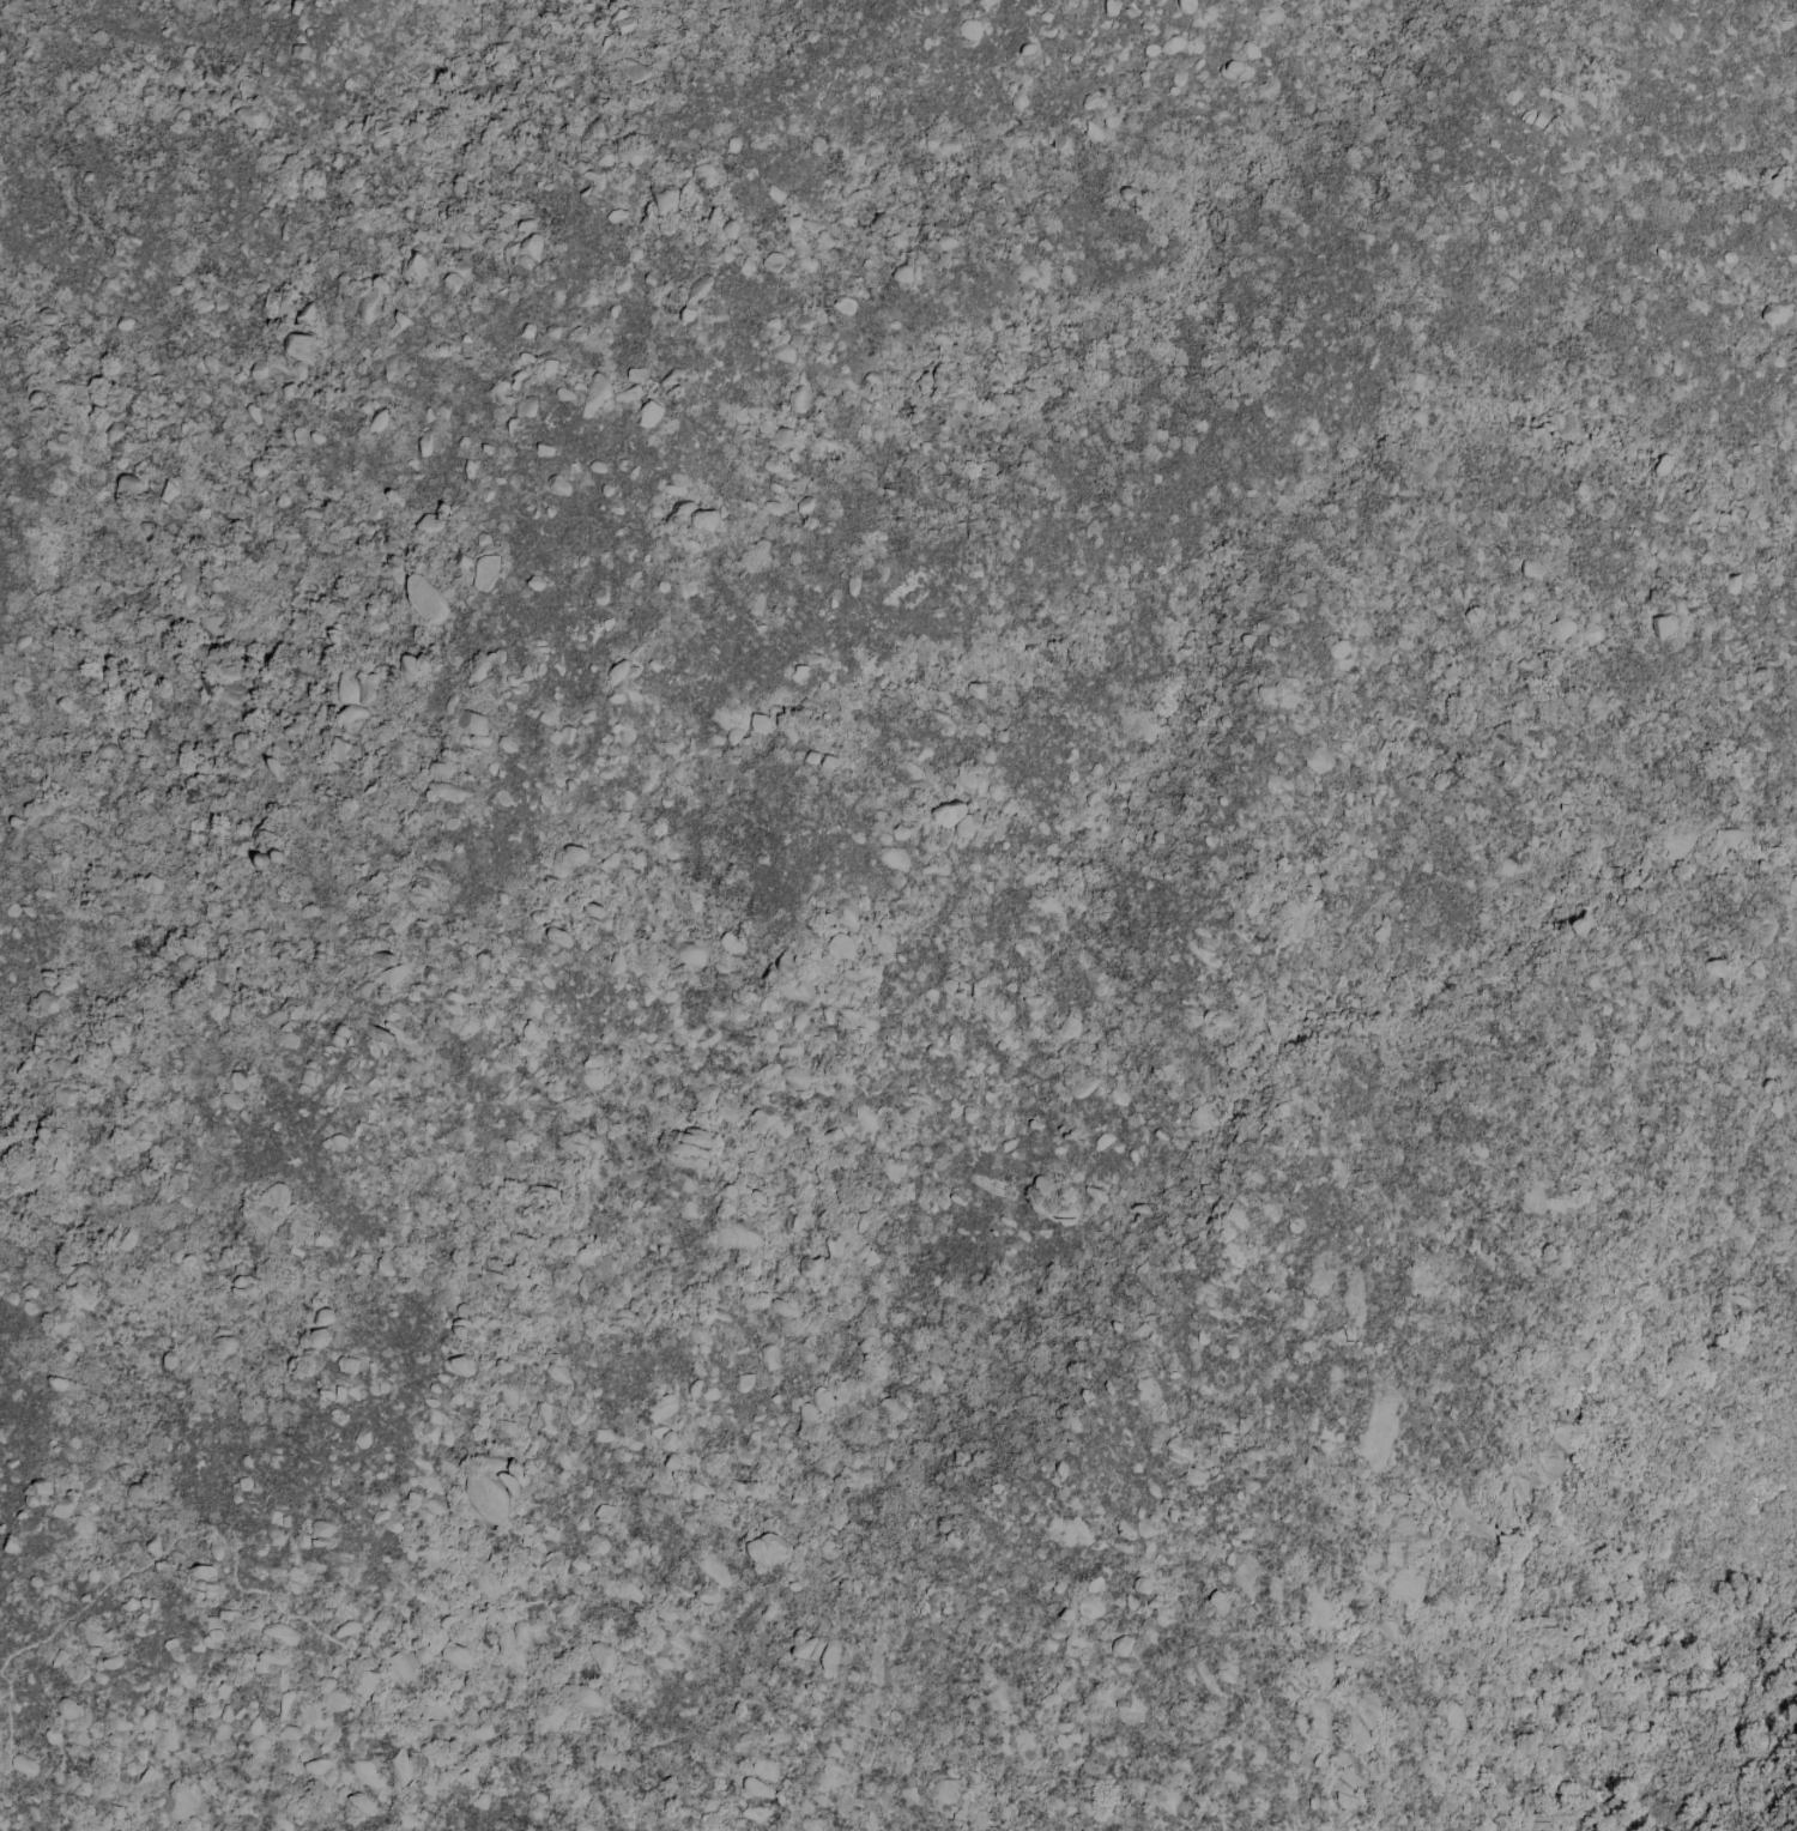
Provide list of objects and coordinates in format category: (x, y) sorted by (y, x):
building: (623, 20)
building: (704, 175)
building: (1774, 186)
building: (791, 224)
building: (773, 260)
building: (1774, 314)
building: (297, 346)
building: (781, 352)
building: (649, 413)
building: (128, 488)
building: (163, 497)
building: (1665, 624)
building: (472, 721)
building: (760, 724)
building: (561, 736)
building: (340, 750)
building: (594, 910)
building: (558, 937)
building: (881, 939)
building: (837, 941)
building: (730, 944)
building: (236, 1080)
building: (707, 1095)
building: (273, 1196)
building: (834, 1245)
building: (866, 1256)
building: (809, 1268)
building: (323, 1316)
building: (459, 1365)
building: (815, 1406)
building: (606, 1513)
building: (767, 1549)
building: (200, 1583)
building: (1221, 1601)
building: (252, 1618)
building: (216, 1625)
building: (1386, 1631)
building: (1294, 1636)
building: (513, 1638)
building: (1123, 1644)
road: (564, 1648)
building: (587, 1698)
building: (337, 1699)
building: (1556, 1758)

